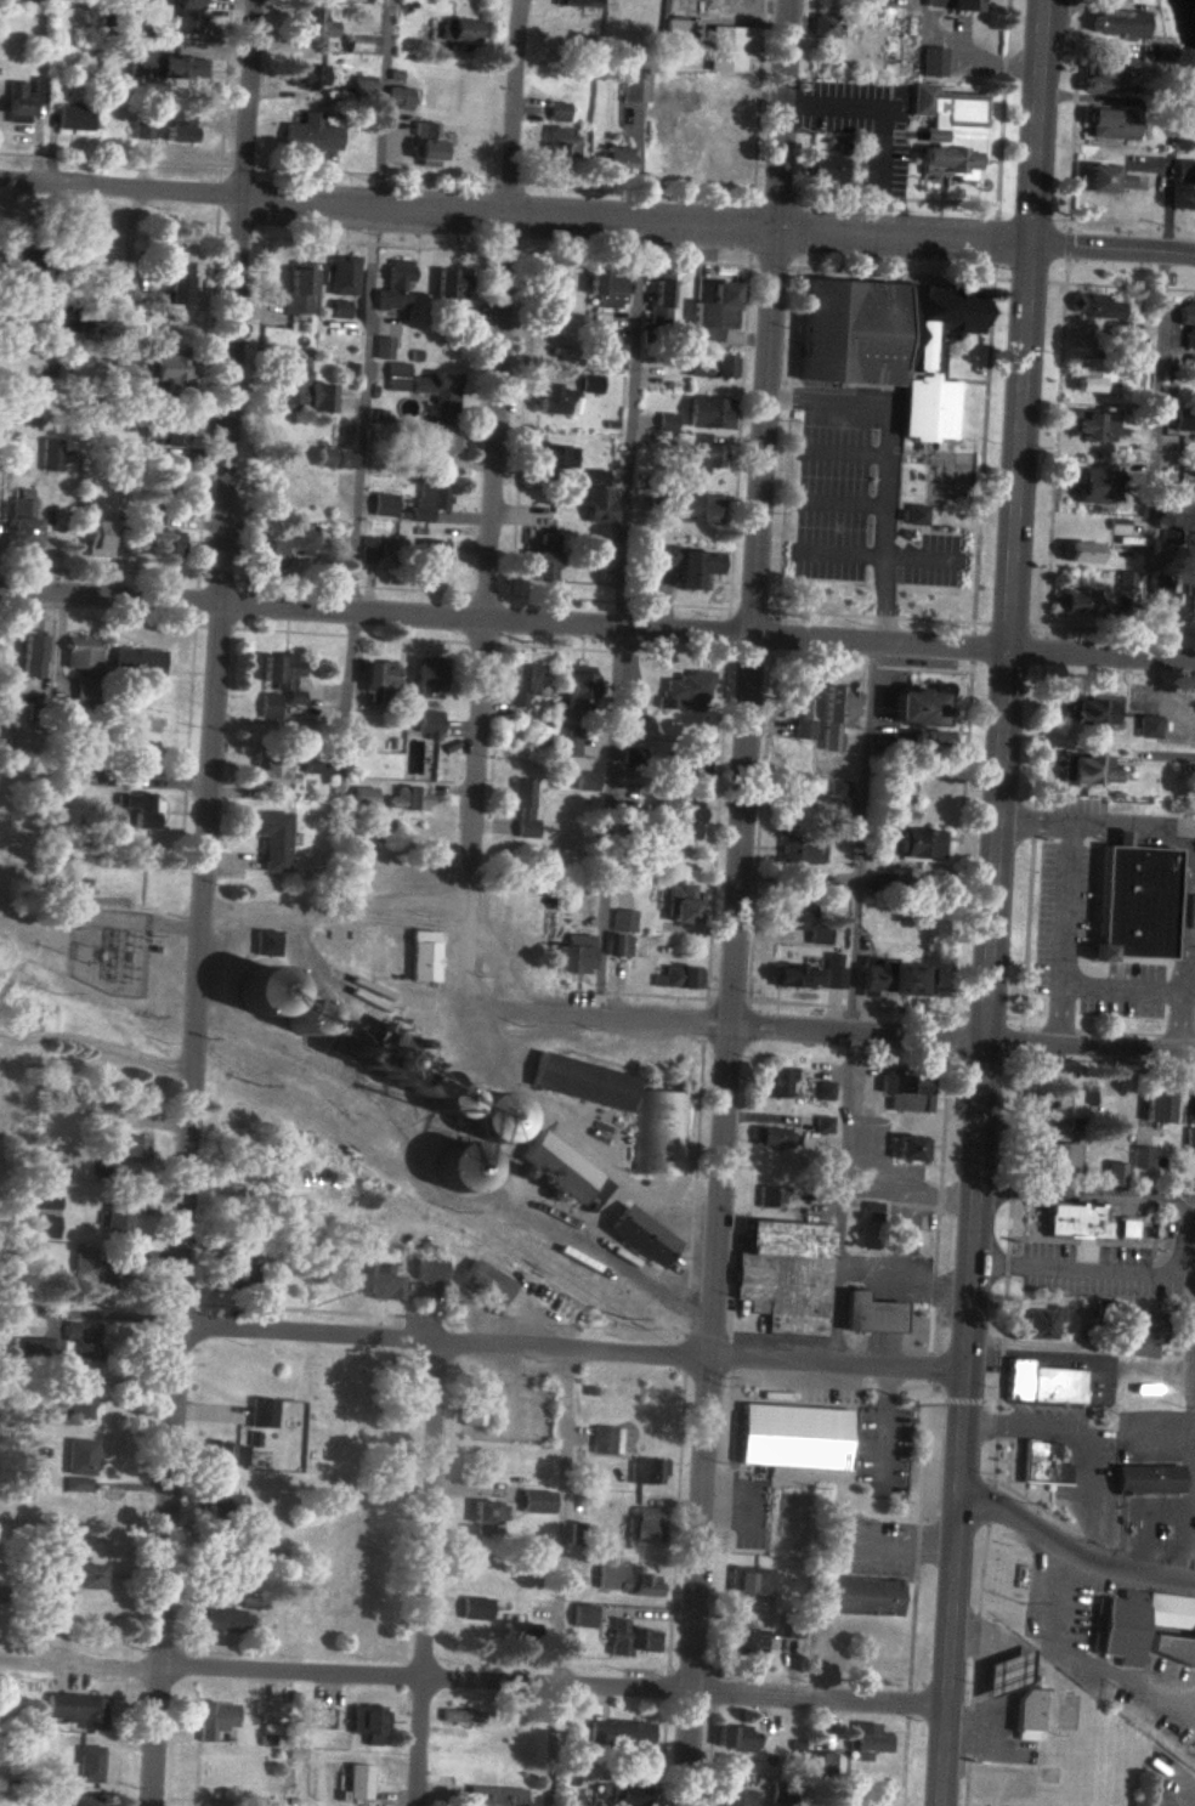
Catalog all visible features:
building: (580, 2)
road: (761, 4)
building: (948, 4)
building: (187, 16)
building: (1117, 23)
building: (312, 26)
building: (825, 26)
building: (461, 29)
building: (726, 49)
building: (1161, 52)
building: (930, 61)
building: (165, 66)
building: (307, 75)
building: (1100, 79)
building: (635, 86)
building: (362, 87)
building: (398, 96)
building: (23, 100)
road: (380, 102)
road: (1001, 109)
building: (560, 111)
road: (1072, 117)
building: (73, 118)
building: (1108, 124)
building: (179, 125)
road: (877, 128)
building: (142, 129)
building: (946, 130)
building: (311, 134)
building: (561, 143)
building: (426, 145)
building: (617, 159)
building: (821, 165)
building: (1182, 171)
building: (1101, 180)
road: (1163, 186)
road: (515, 215)
road: (995, 243)
road: (1066, 247)
road: (1112, 250)
building: (342, 274)
road: (993, 279)
road: (1064, 281)
road: (1027, 282)
building: (177, 283)
building: (448, 284)
building: (393, 285)
building: (298, 289)
building: (605, 289)
building: (659, 300)
building: (1094, 307)
building: (338, 308)
building: (713, 312)
building: (1186, 323)
building: (1120, 333)
building: (891, 344)
building: (381, 347)
building: (610, 356)
building: (126, 358)
building: (1189, 361)
building: (709, 367)
building: (174, 372)
building: (396, 377)
building: (1093, 377)
building: (589, 383)
building: (301, 390)
building: (437, 391)
building: (553, 400)
road: (364, 408)
building: (708, 413)
building: (1183, 420)
building: (664, 421)
building: (1094, 425)
road: (628, 428)
building: (165, 432)
building: (441, 442)
building: (50, 454)
building: (702, 454)
building: (553, 455)
road: (1155, 455)
building: (333, 458)
road: (883, 468)
building: (1094, 485)
building: (596, 494)
road: (492, 499)
building: (429, 500)
building: (383, 504)
building: (697, 508)
building: (913, 514)
building: (149, 517)
building: (22, 520)
building: (97, 534)
building: (166, 545)
building: (283, 547)
building: (369, 549)
building: (1080, 553)
building: (540, 555)
road: (873, 556)
building: (431, 557)
building: (687, 566)
building: (1125, 581)
building: (1161, 599)
building: (1078, 601)
building: (1191, 610)
road: (505, 622)
building: (80, 651)
building: (30, 656)
road: (1103, 657)
building: (137, 661)
building: (282, 675)
building: (427, 676)
building: (380, 680)
building: (523, 683)
building: (83, 687)
building: (577, 687)
building: (685, 691)
building: (268, 706)
building: (918, 706)
building: (798, 709)
building: (836, 715)
building: (427, 724)
building: (1146, 726)
building: (636, 729)
building: (566, 741)
building: (929, 741)
building: (316, 764)
building: (695, 764)
building: (1084, 768)
building: (271, 772)
building: (585, 781)
building: (363, 797)
building: (408, 799)
building: (812, 804)
building: (523, 806)
building: (140, 809)
building: (686, 819)
road: (1035, 821)
road: (608, 822)
road: (1120, 826)
building: (272, 840)
road: (857, 840)
building: (916, 843)
building: (795, 848)
road: (202, 902)
road: (741, 902)
road: (995, 902)
building: (1132, 902)
building: (683, 905)
road: (339, 910)
building: (793, 912)
road: (408, 921)
building: (623, 921)
building: (817, 935)
building: (267, 942)
building: (618, 945)
building: (573, 953)
building: (424, 956)
building: (832, 972)
building: (676, 976)
building: (794, 976)
building: (890, 979)
road: (1118, 987)
building: (261, 990)
road: (729, 1029)
road: (1091, 1053)
building: (582, 1081)
building: (776, 1081)
building: (823, 1091)
building: (902, 1091)
building: (1066, 1102)
building: (1156, 1108)
building: (480, 1111)
building: (822, 1125)
road: (579, 1126)
building: (658, 1132)
building: (777, 1137)
building: (1189, 1140)
building: (123, 1145)
building: (908, 1148)
road: (511, 1154)
building: (1055, 1155)
building: (1140, 1157)
building: (459, 1166)
building: (563, 1171)
road: (849, 1173)
building: (1114, 1173)
road: (426, 1189)
road: (1114, 1193)
building: (768, 1196)
building: (45, 1202)
building: (117, 1217)
building: (1076, 1221)
building: (1127, 1228)
building: (52, 1229)
road: (899, 1233)
building: (640, 1236)
building: (83, 1267)
road: (834, 1269)
road: (1080, 1270)
road: (902, 1274)
building: (109, 1275)
building: (785, 1275)
building: (237, 1276)
building: (378, 1284)
building: (492, 1286)
building: (868, 1314)
building: (1041, 1323)
building: (1145, 1326)
building: (83, 1340)
building: (38, 1349)
road: (572, 1351)
road: (1077, 1360)
road: (1190, 1361)
building: (1042, 1383)
building: (80, 1404)
building: (477, 1404)
building: (262, 1412)
road: (1024, 1429)
building: (794, 1434)
building: (254, 1438)
building: (606, 1440)
building: (230, 1454)
building: (80, 1456)
building: (1042, 1464)
building: (645, 1471)
building: (1148, 1479)
building: (81, 1484)
road: (1091, 1495)
park: (368, 1501)
building: (536, 1501)
building: (222, 1506)
building: (487, 1515)
road: (559, 1517)
building: (646, 1524)
road: (1071, 1545)
road: (425, 1574)
building: (625, 1579)
building: (751, 1580)
building: (865, 1596)
building: (476, 1608)
building: (582, 1615)
building: (222, 1620)
building: (1122, 1627)
building: (517, 1631)
building: (630, 1638)
building: (747, 1642)
road: (78, 1664)
building: (1014, 1672)
road: (548, 1685)
building: (262, 1708)
building: (78, 1709)
building: (1033, 1709)
building: (215, 1719)
building: (327, 1719)
building: (370, 1723)
building: (619, 1733)
building: (735, 1738)
building: (867, 1740)
road: (551, 1745)
building: (820, 1762)
building: (89, 1763)
building: (358, 1782)
building: (624, 1793)
building: (495, 1796)
building: (740, 1797)
building: (86, 1801)

